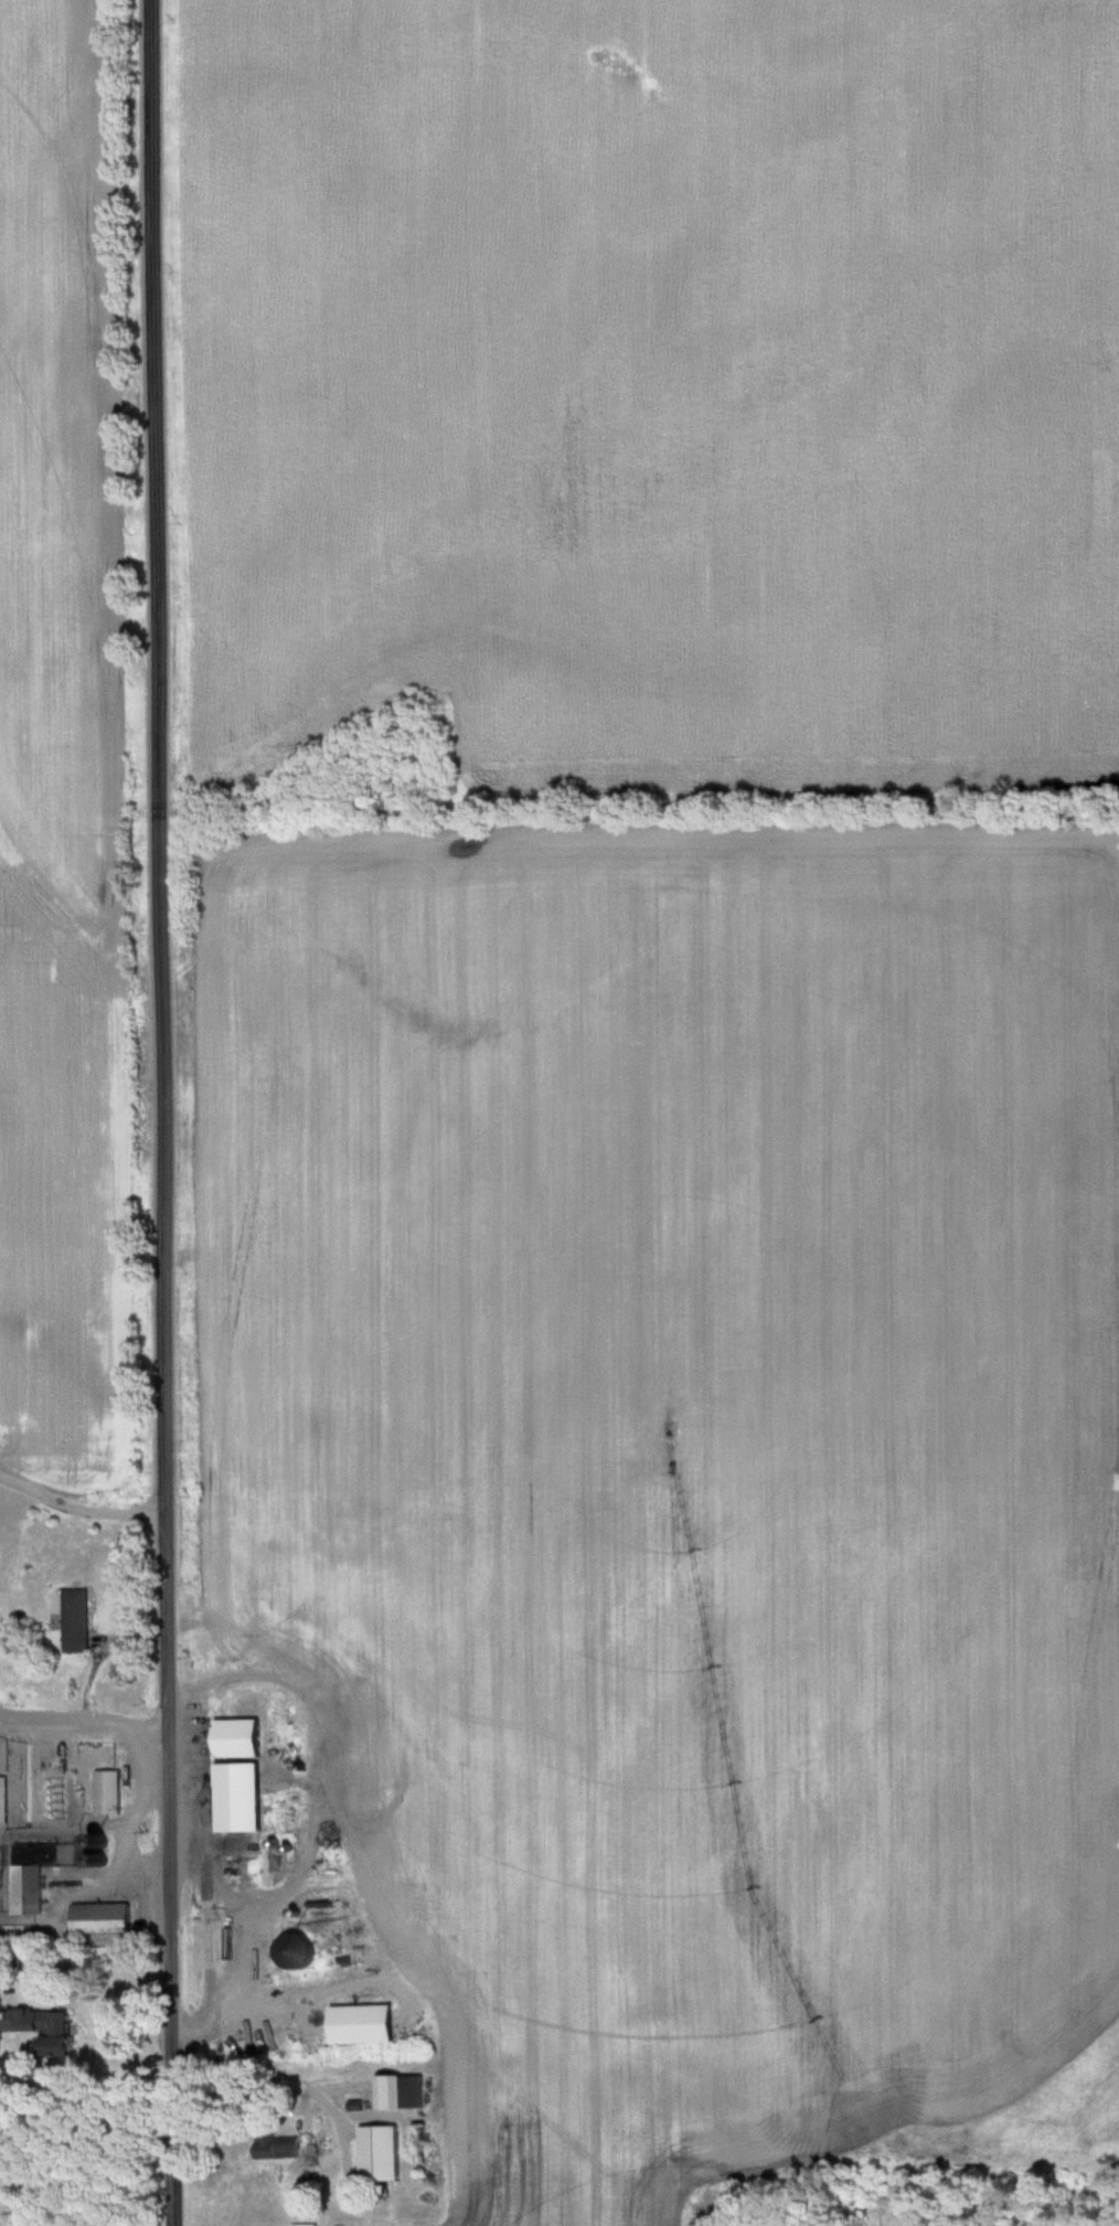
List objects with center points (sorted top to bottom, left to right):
road: (630, 790)
road: (163, 1112)
road: (82, 1505)
building: (76, 1622)
road: (85, 1732)
building: (241, 1739)
building: (109, 1792)
building: (3, 1800)
building: (242, 1820)
building: (29, 1889)
building: (103, 1918)
road: (209, 1939)
building: (298, 1951)
road: (98, 1981)
building: (366, 2025)
building: (62, 2035)
road: (271, 2080)
building: (402, 2094)
building: (279, 2148)
building: (381, 2155)

